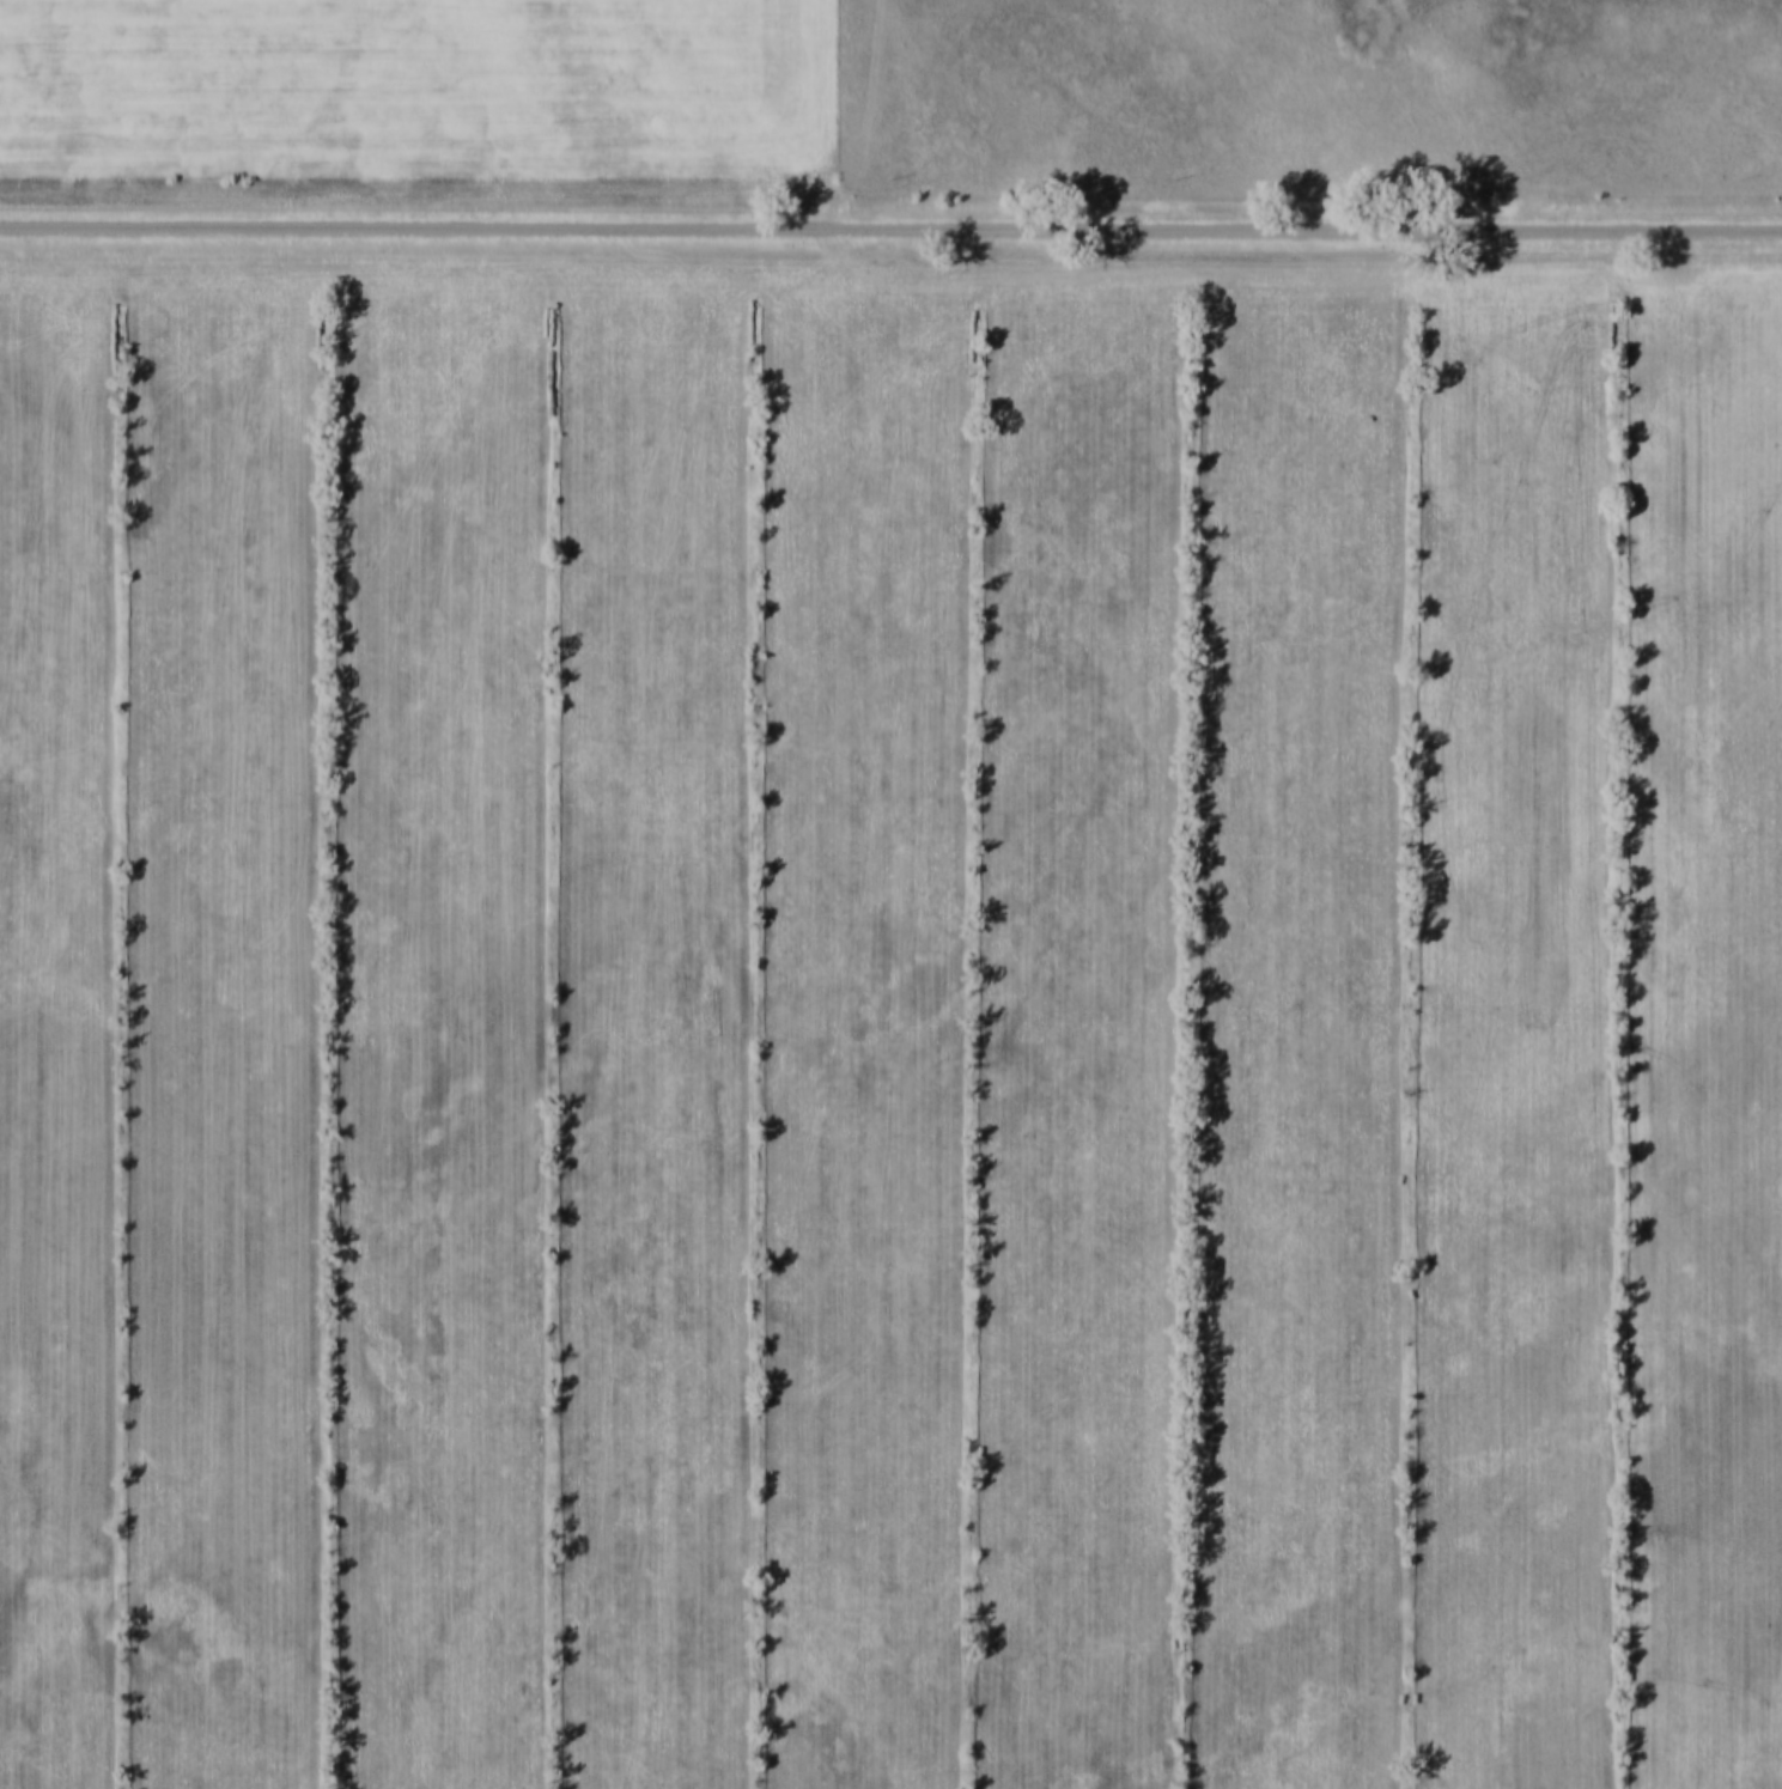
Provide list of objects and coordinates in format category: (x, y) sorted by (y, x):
road: (890, 221)

